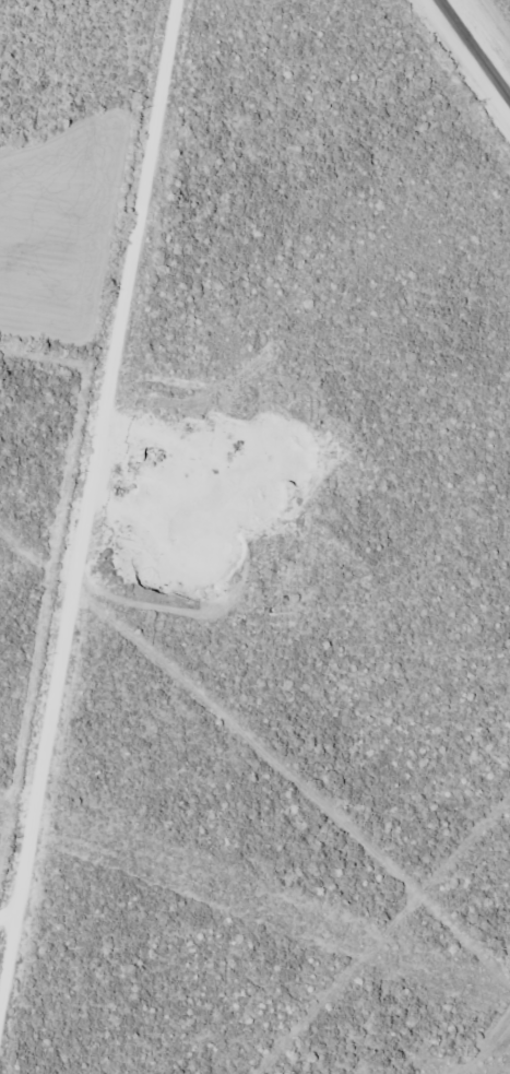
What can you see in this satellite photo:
road: (477, 46)

